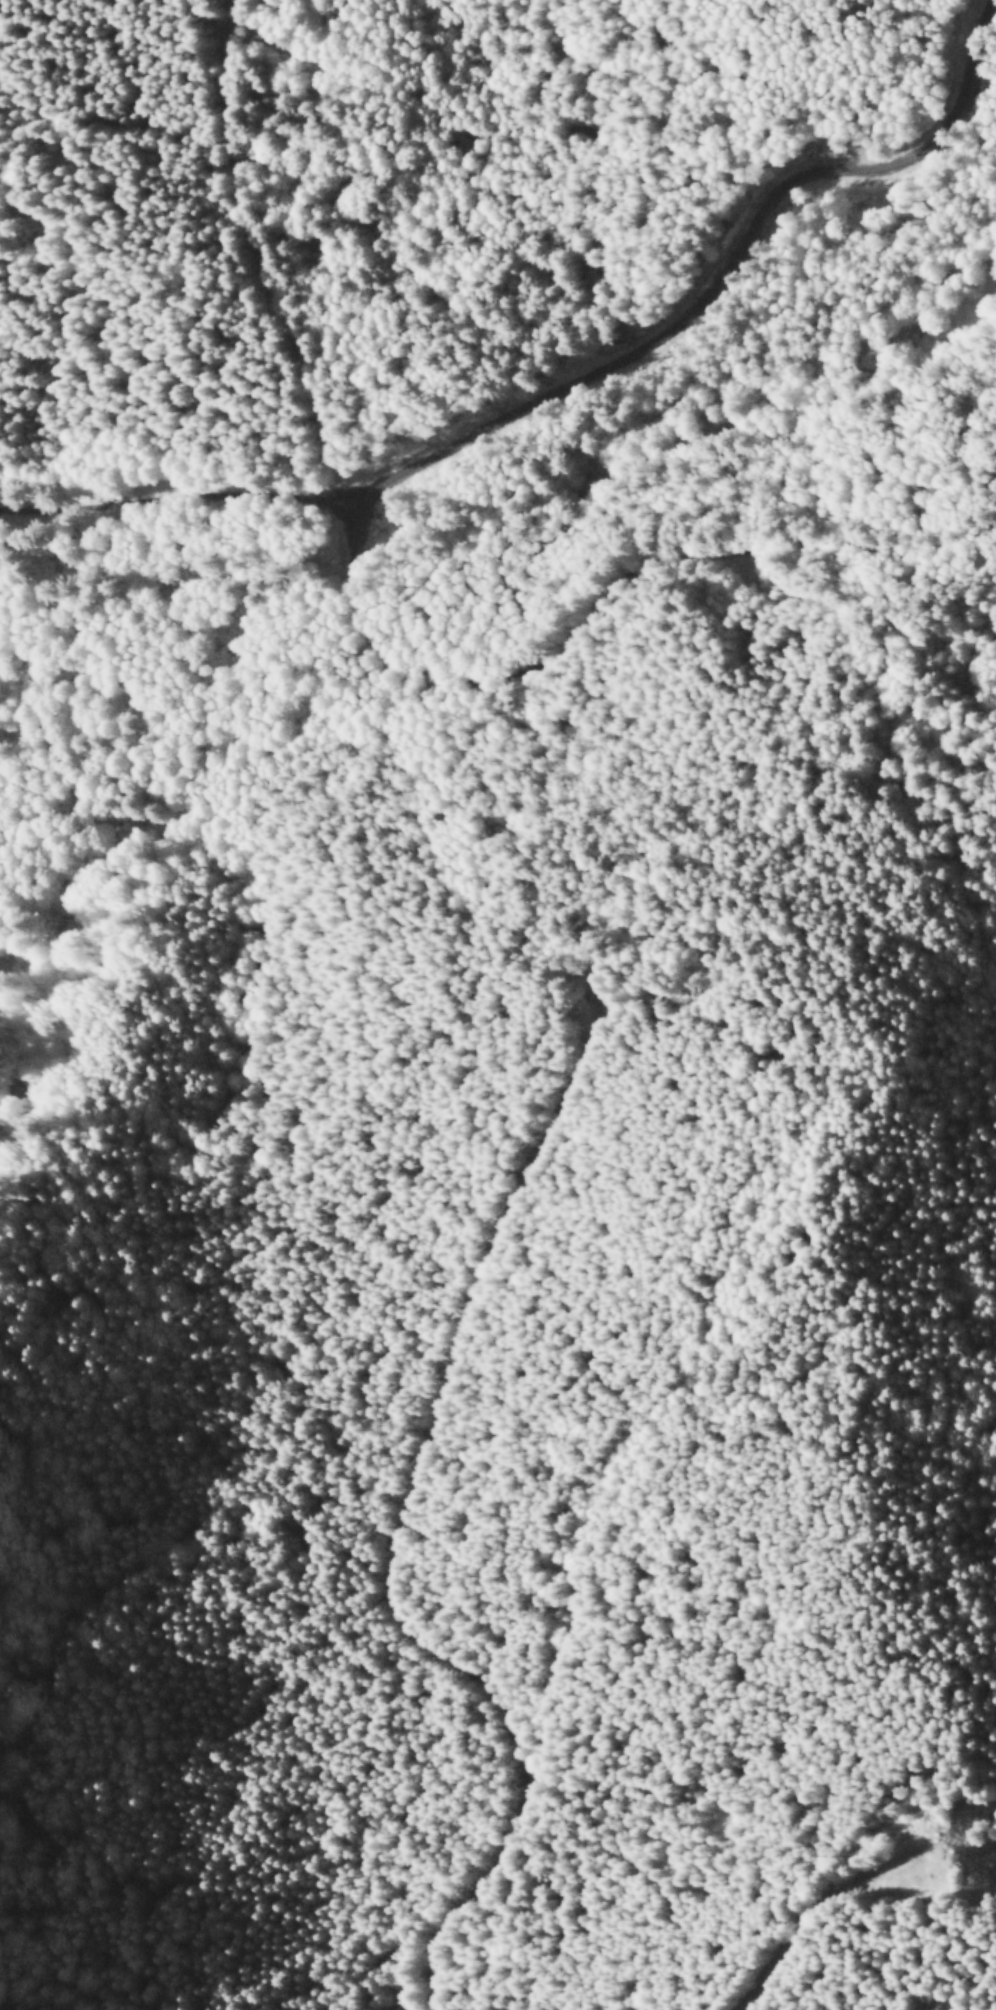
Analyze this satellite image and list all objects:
road: (517, 511)
road: (542, 693)
road: (386, 1629)

